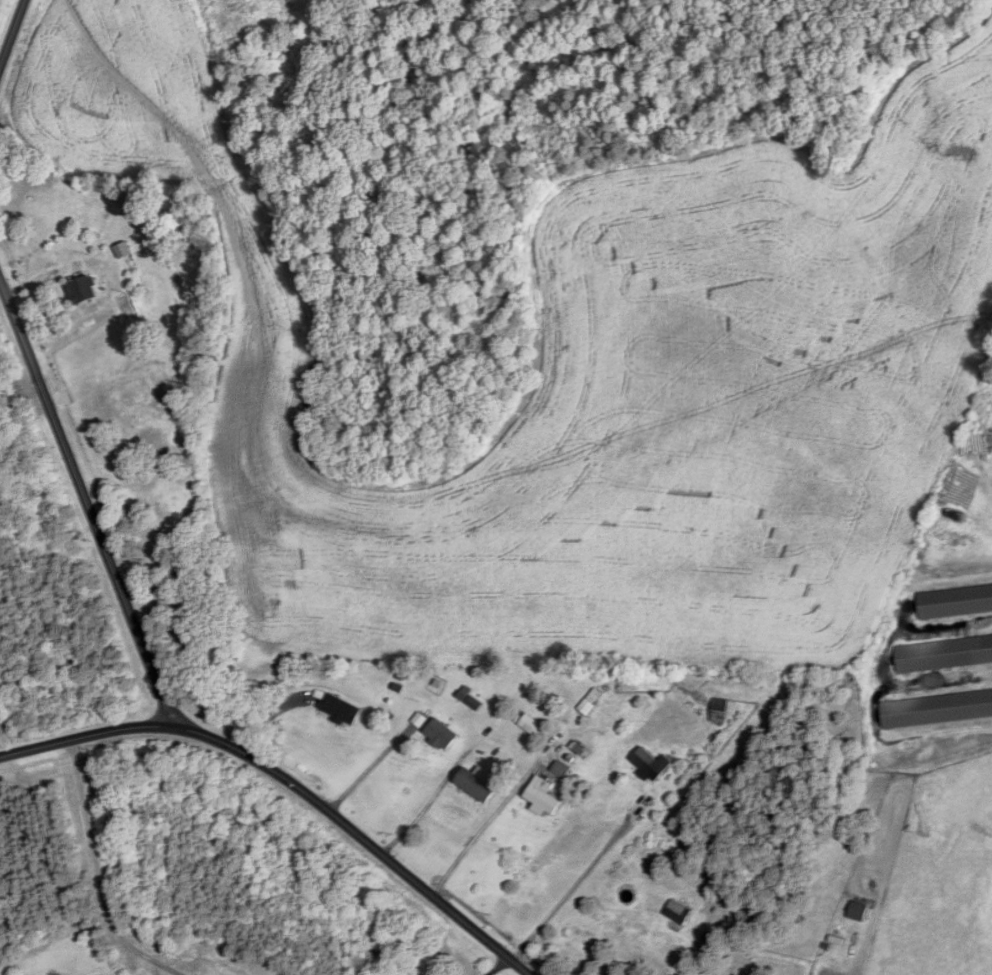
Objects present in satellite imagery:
road: (12, 32)
building: (124, 249)
building: (83, 289)
road: (68, 454)
building: (954, 601)
building: (945, 653)
road: (156, 676)
building: (589, 703)
building: (936, 708)
building: (342, 709)
building: (719, 710)
building: (442, 733)
building: (652, 763)
road: (365, 770)
road: (291, 781)
building: (478, 784)
building: (544, 795)
road: (428, 803)
road: (483, 827)
road: (100, 874)
road: (578, 883)
building: (678, 912)
road: (498, 966)

